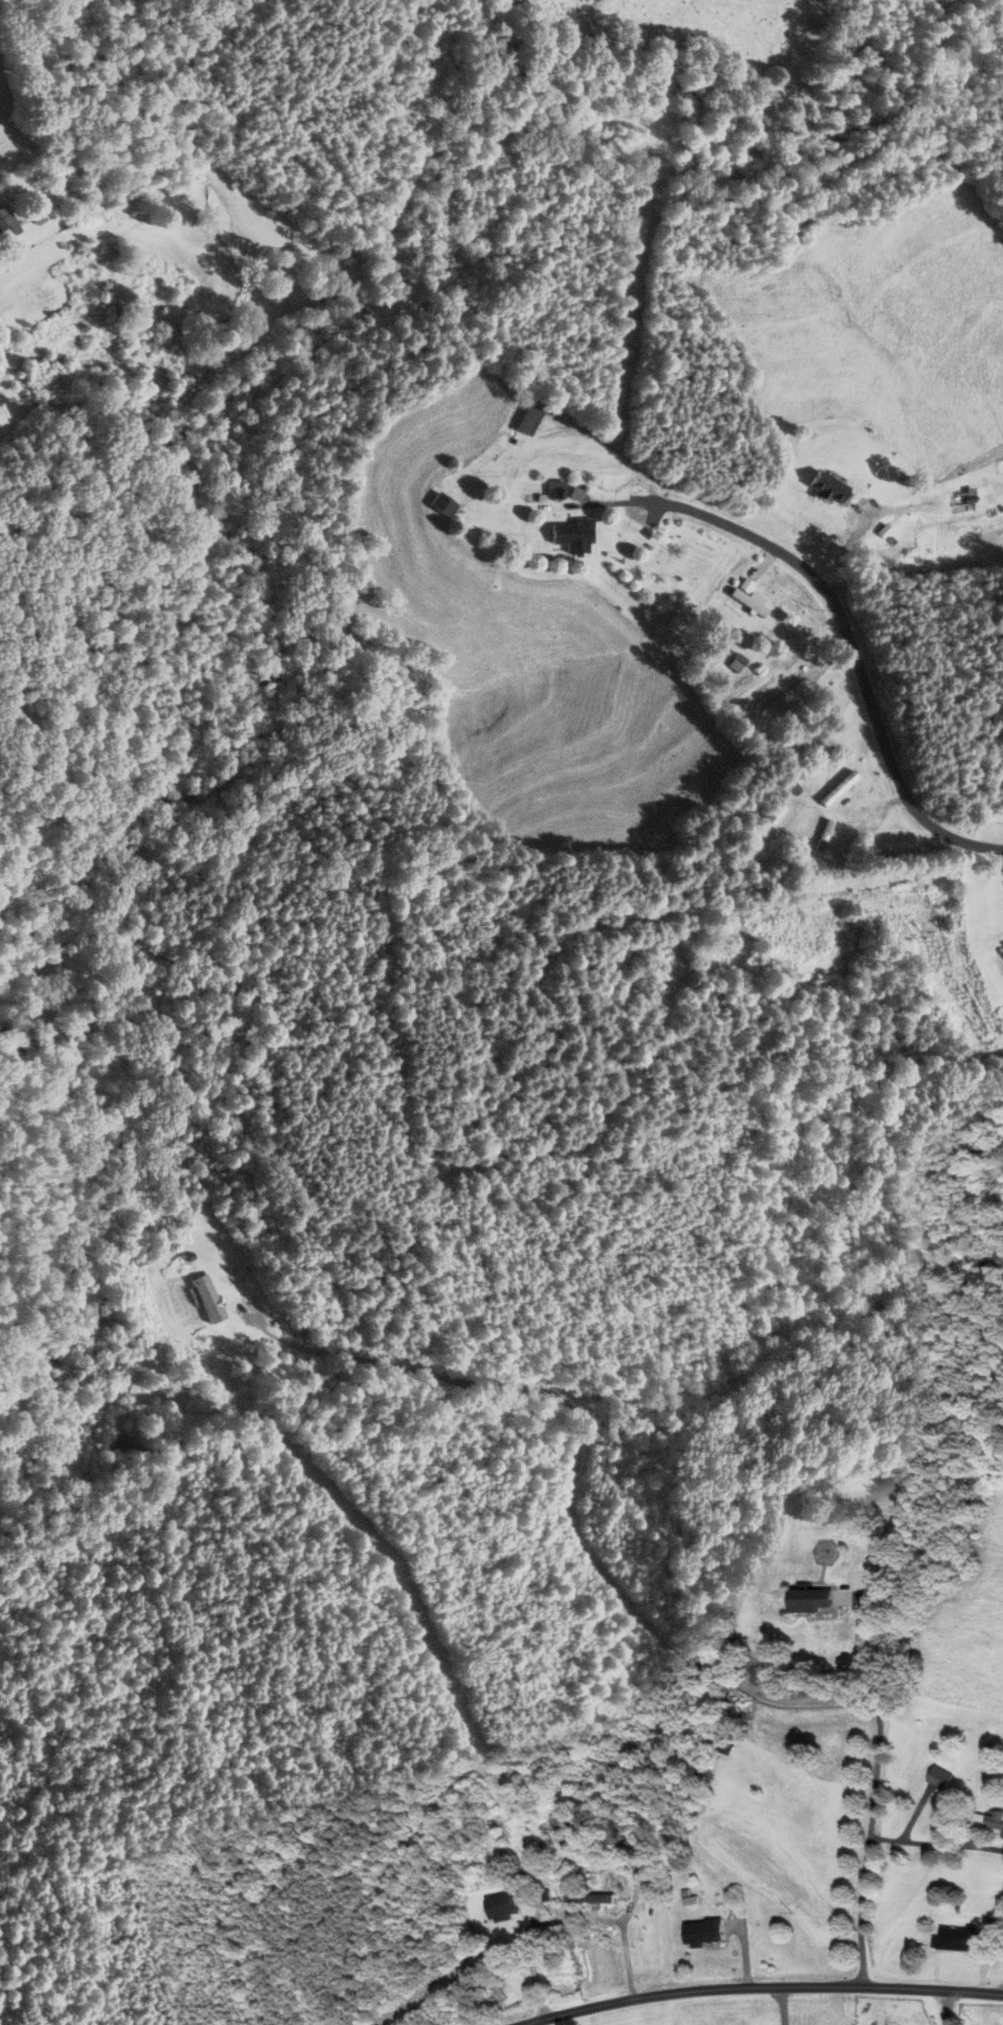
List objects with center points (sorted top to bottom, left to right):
building: (6, 222)
building: (530, 417)
building: (829, 486)
building: (557, 487)
building: (962, 495)
building: (445, 503)
building: (575, 533)
building: (750, 595)
road: (854, 620)
building: (738, 661)
building: (840, 787)
building: (825, 835)
building: (207, 1302)
building: (303, 1330)
building: (812, 1599)
road: (652, 1609)
road: (859, 1650)
building: (941, 1777)
building: (995, 1819)
building: (589, 1897)
building: (502, 1906)
building: (704, 1932)
building: (963, 1939)
road: (770, 1991)
road: (946, 2008)

